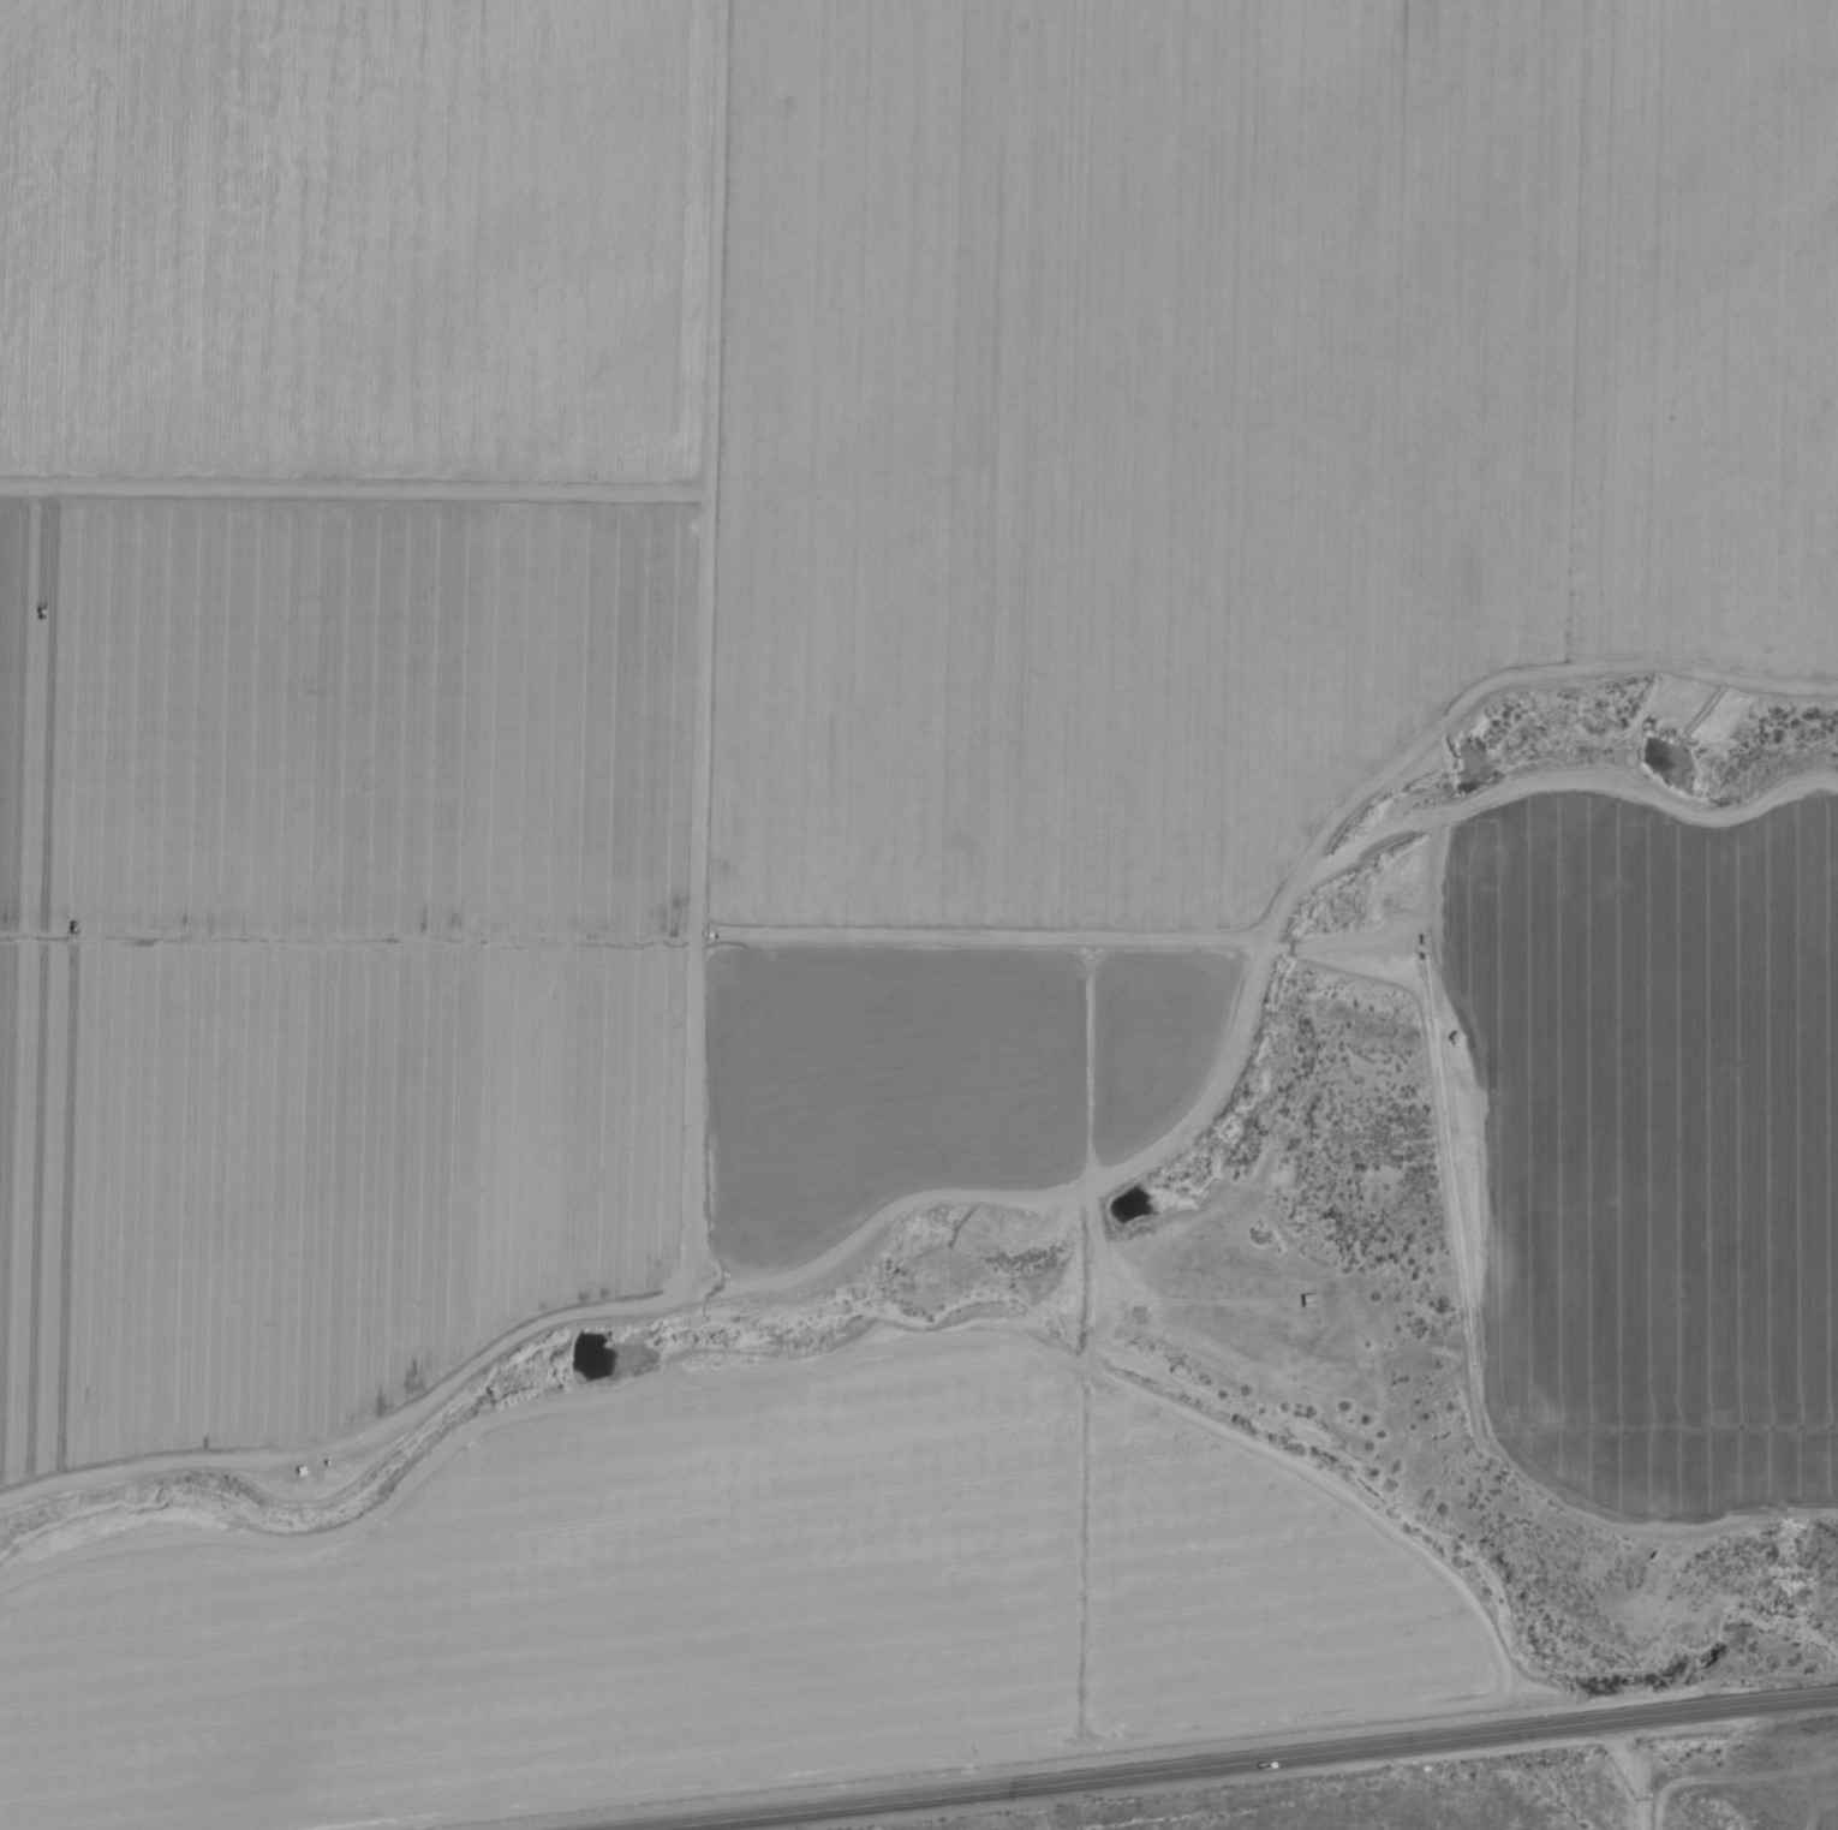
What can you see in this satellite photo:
crop: (1197, 507)
crop: (339, 693)
crop: (1660, 1144)
crop: (728, 1608)
road: (1243, 1764)

